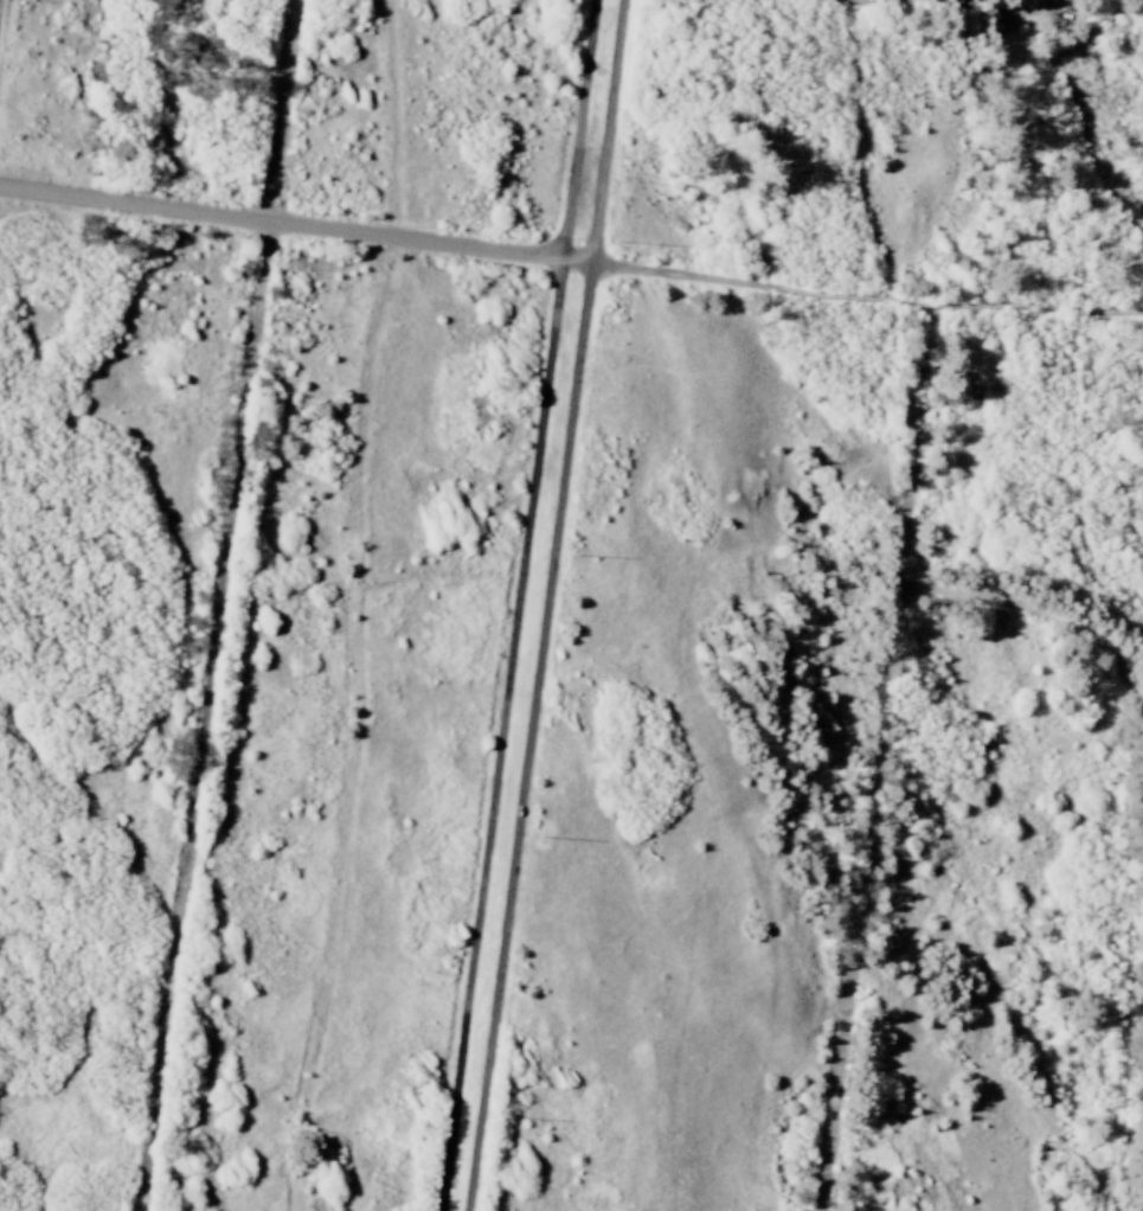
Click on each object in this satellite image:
road: (998, 9)
road: (570, 262)
road: (221, 604)
road: (522, 604)
road: (552, 605)
road: (1040, 610)
road: (879, 761)

